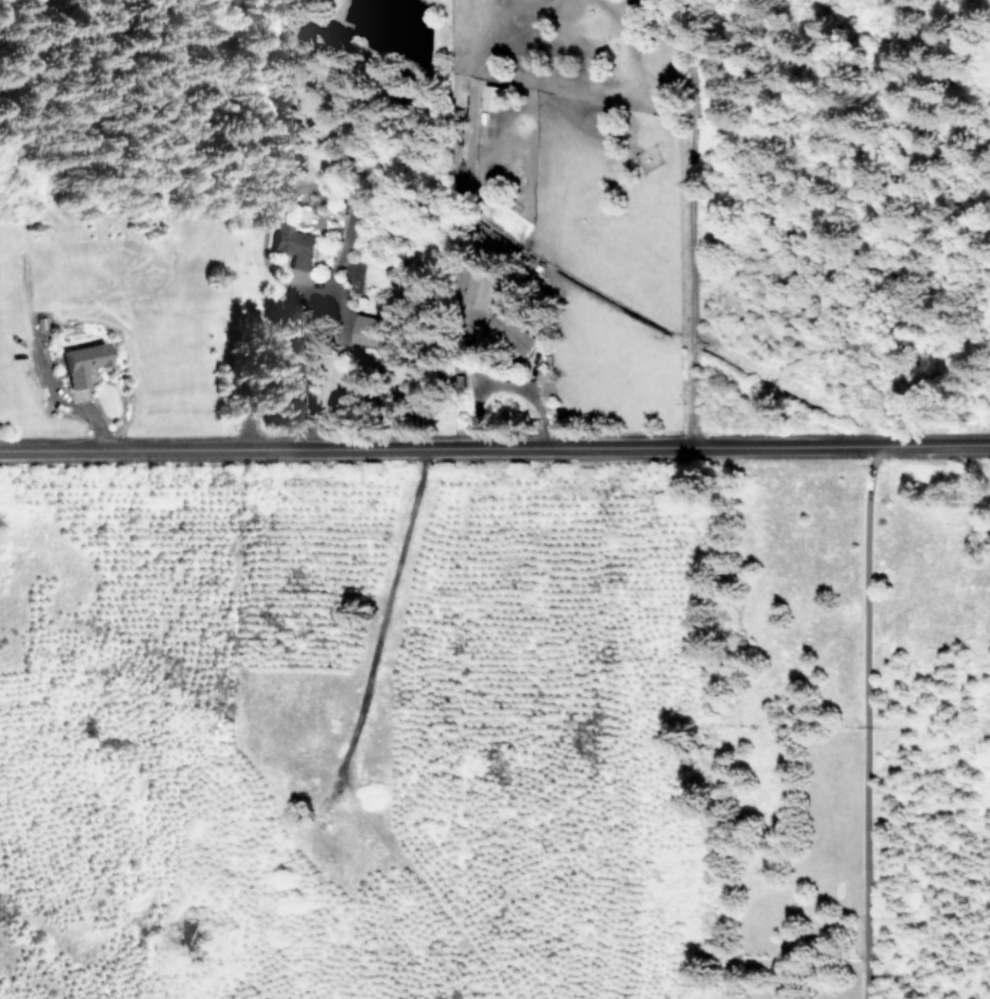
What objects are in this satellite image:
building: (294, 244)
building: (518, 334)
building: (82, 362)
road: (494, 448)
road: (867, 721)

